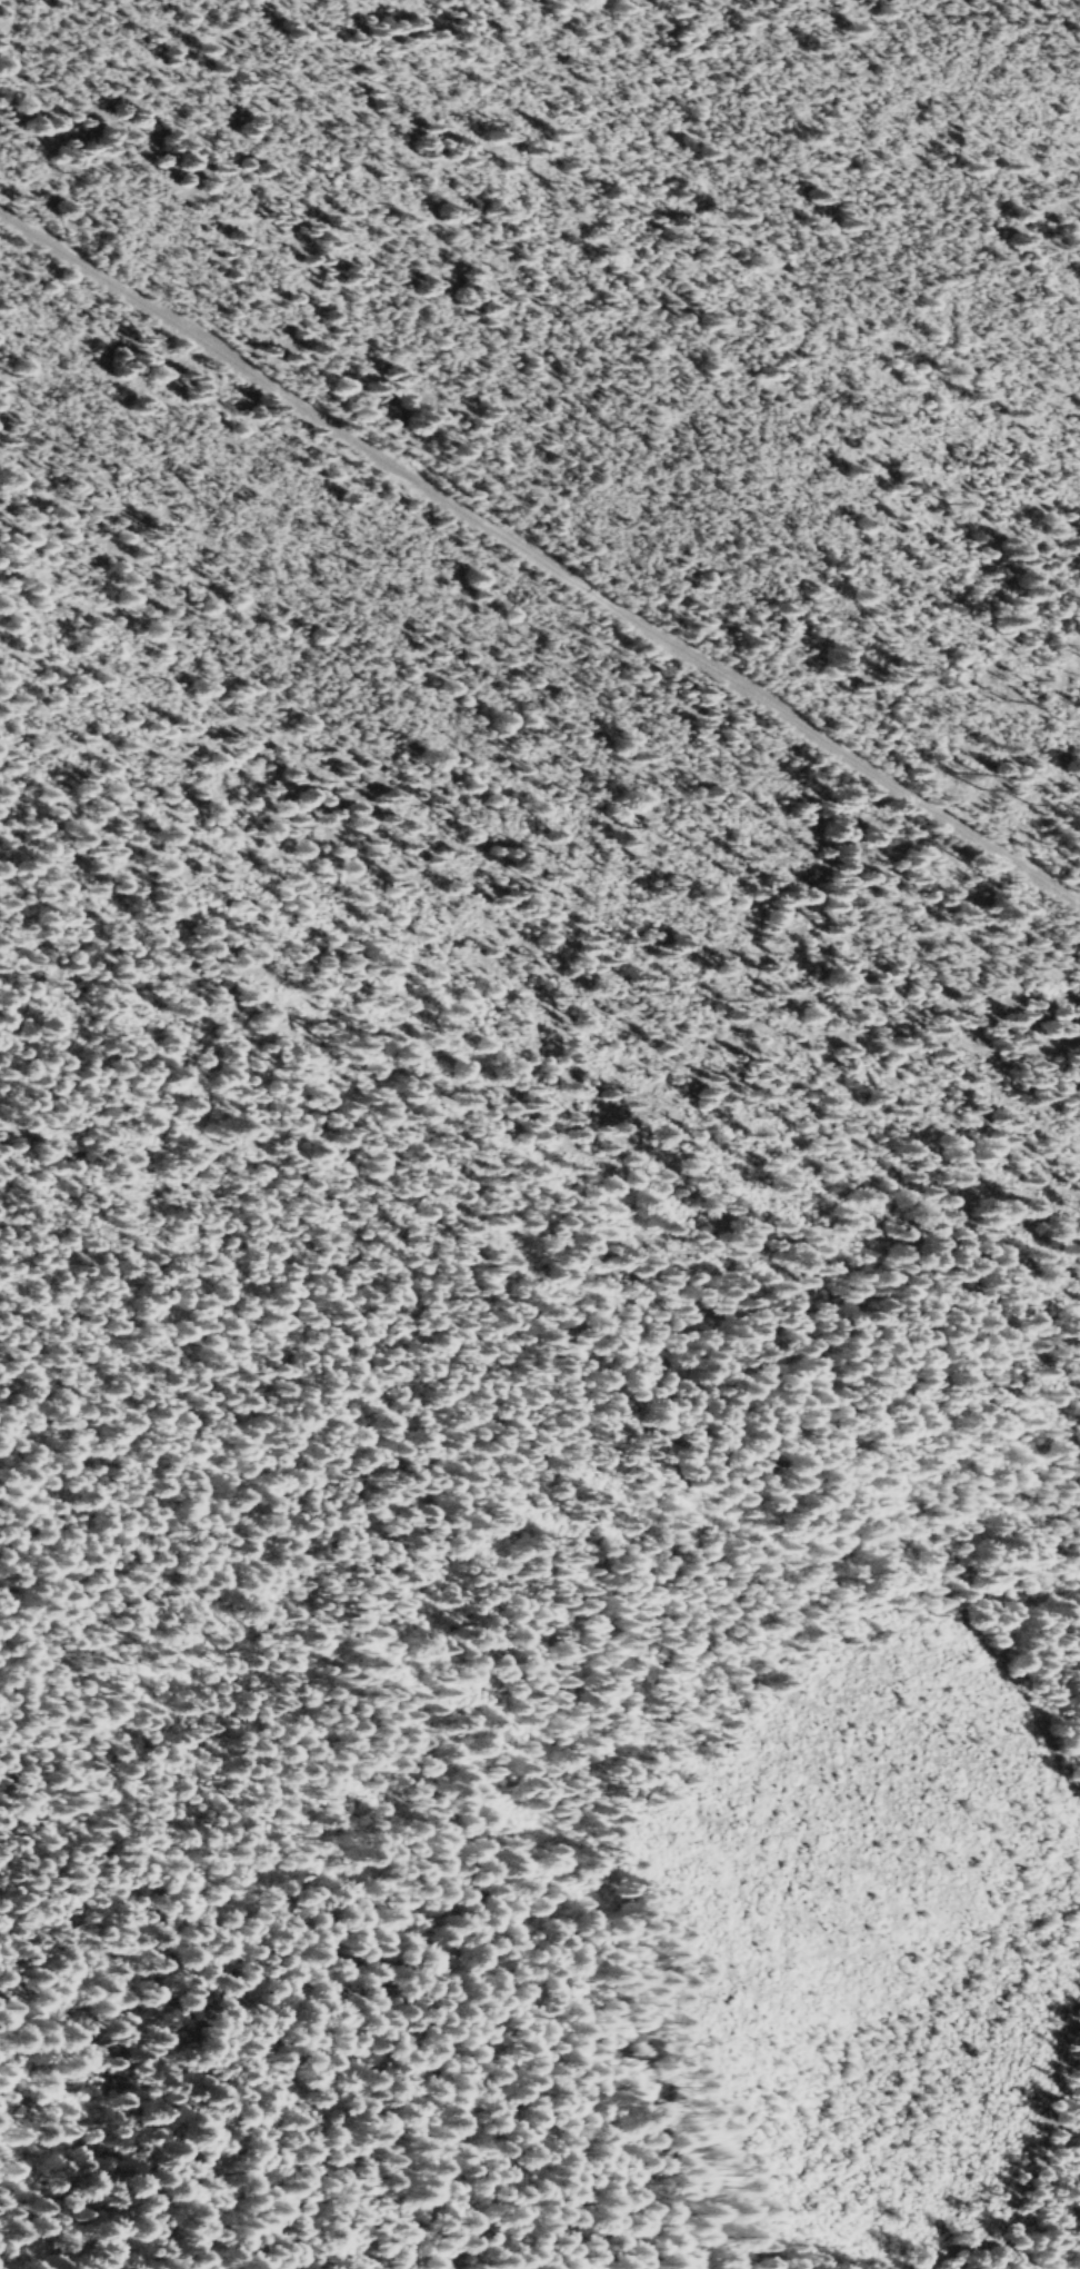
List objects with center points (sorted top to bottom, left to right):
road: (539, 556)

